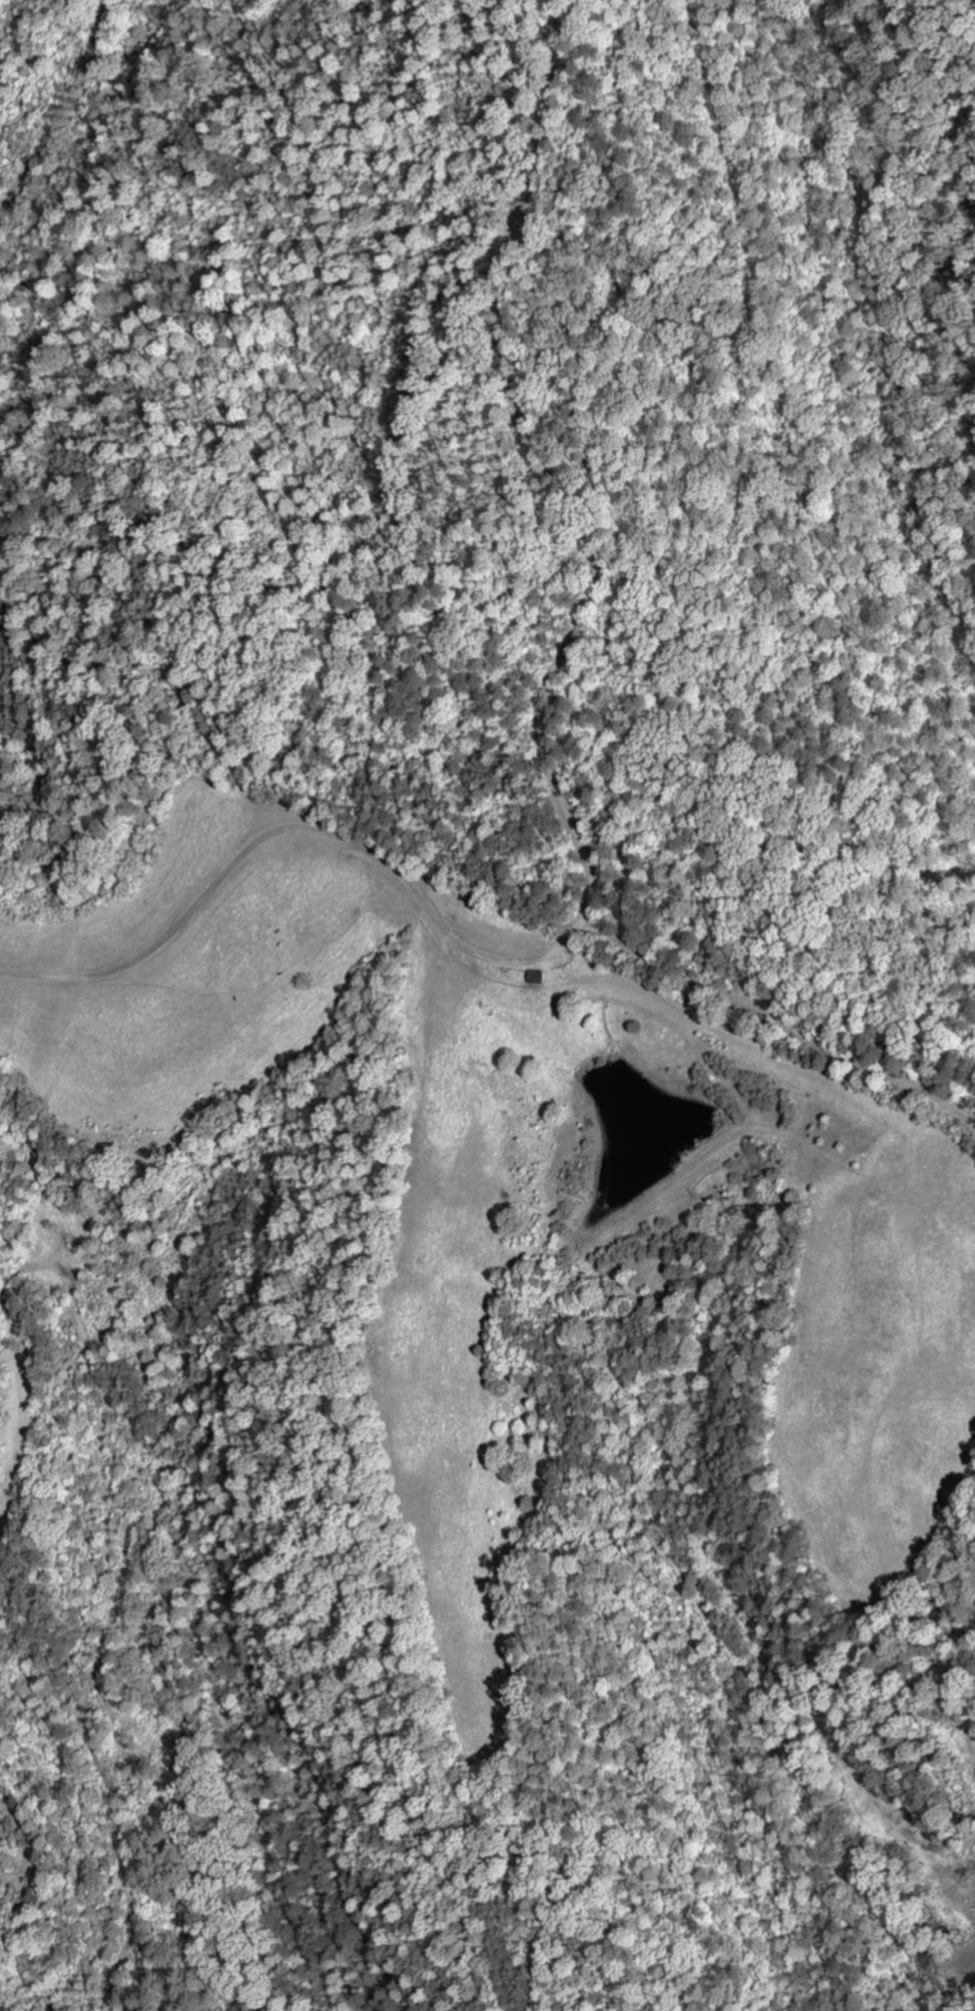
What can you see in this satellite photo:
road: (66, 114)
road: (549, 476)

